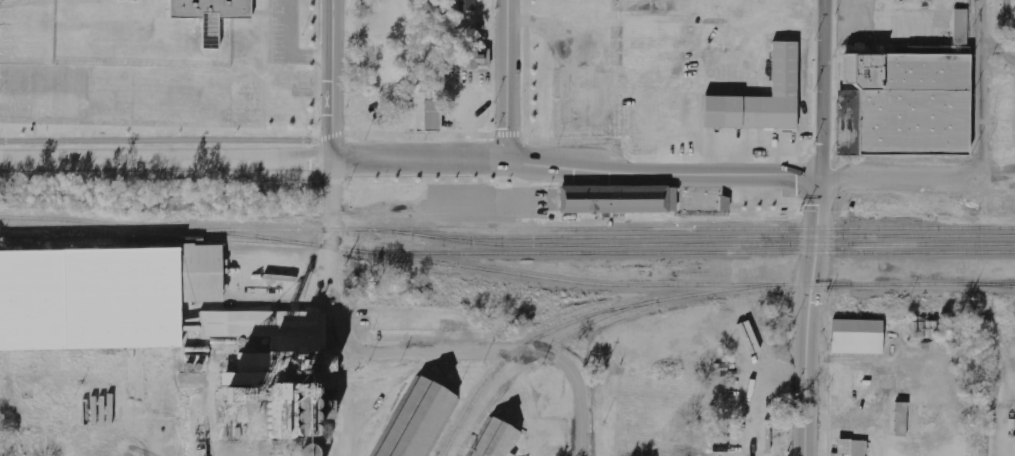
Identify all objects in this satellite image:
building: (468, 5)
building: (204, 16)
road: (1007, 31)
building: (960, 32)
road: (999, 50)
building: (476, 59)
road: (505, 79)
road: (331, 80)
road: (982, 80)
road: (821, 90)
building: (759, 99)
building: (904, 106)
building: (427, 112)
road: (484, 133)
road: (155, 140)
road: (166, 160)
road: (418, 160)
road: (662, 174)
road: (905, 181)
building: (613, 199)
railway: (701, 219)
railway: (97, 222)
railway: (690, 228)
railway: (248, 234)
railway: (717, 236)
railway: (2, 238)
railway: (153, 238)
railway: (604, 244)
railway: (658, 252)
railway: (570, 280)
railway: (1000, 285)
railway: (695, 293)
road: (810, 317)
building: (165, 320)
road: (338, 323)
building: (857, 336)
railway: (533, 358)
road: (569, 370)
building: (900, 419)
building: (420, 420)
building: (495, 439)
building: (851, 447)
building: (307, 450)

